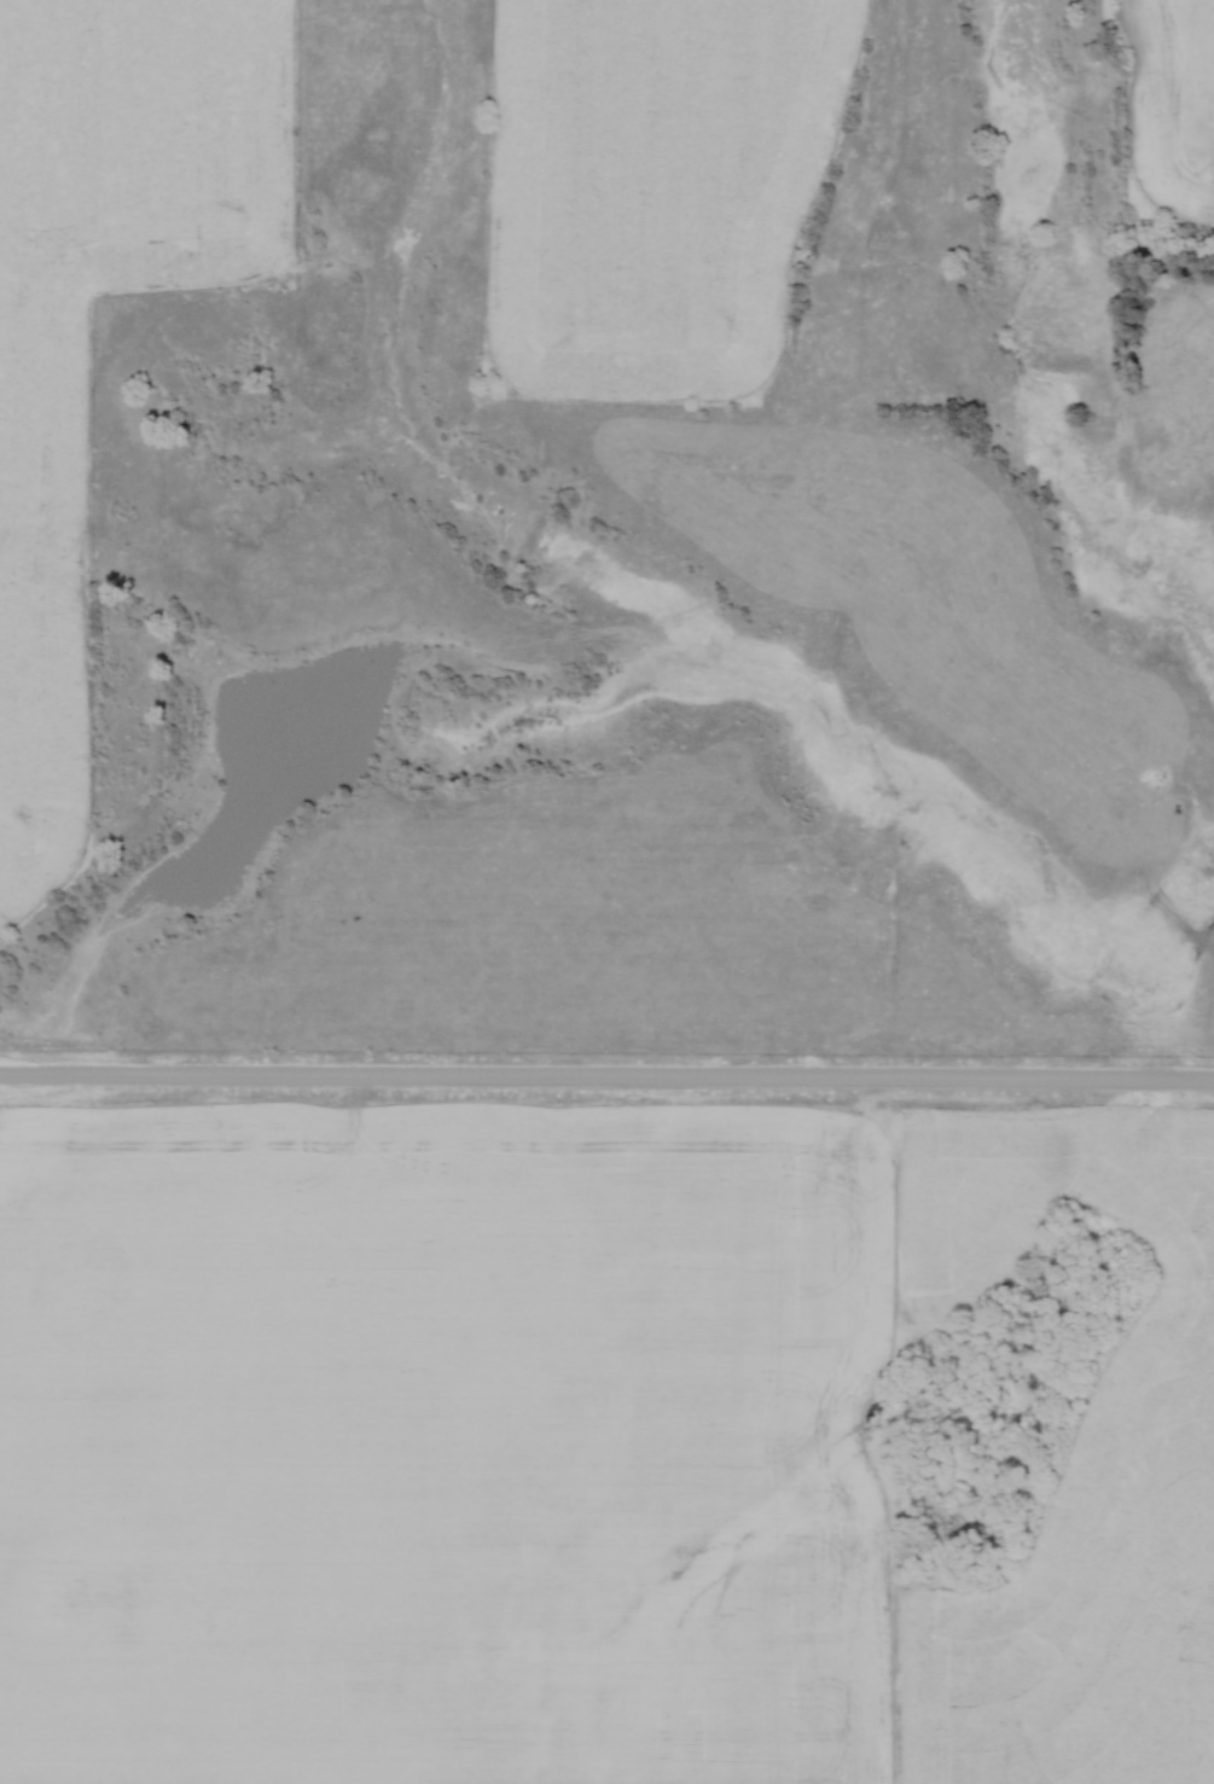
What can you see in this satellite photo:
road: (606, 1081)

